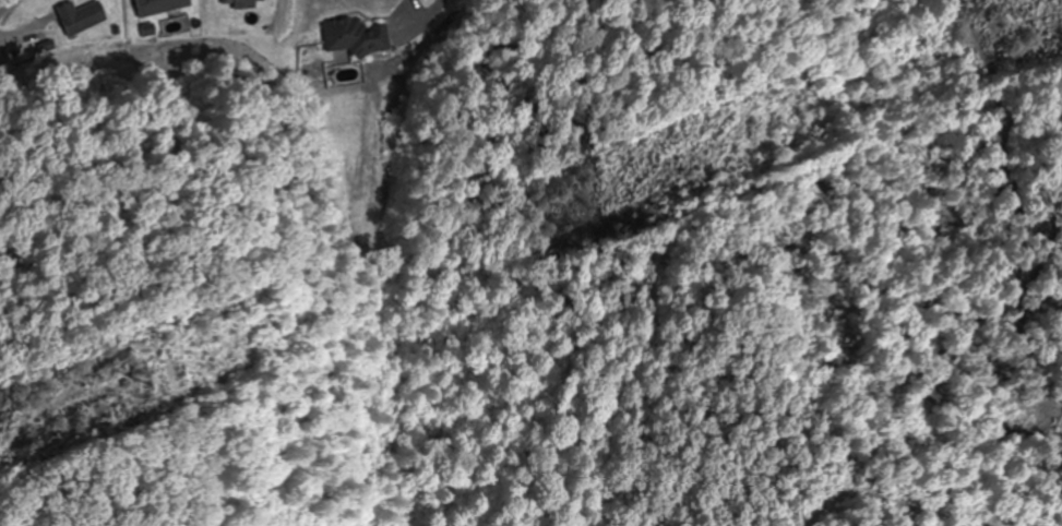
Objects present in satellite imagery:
building: (242, 3)
building: (165, 5)
building: (354, 37)

